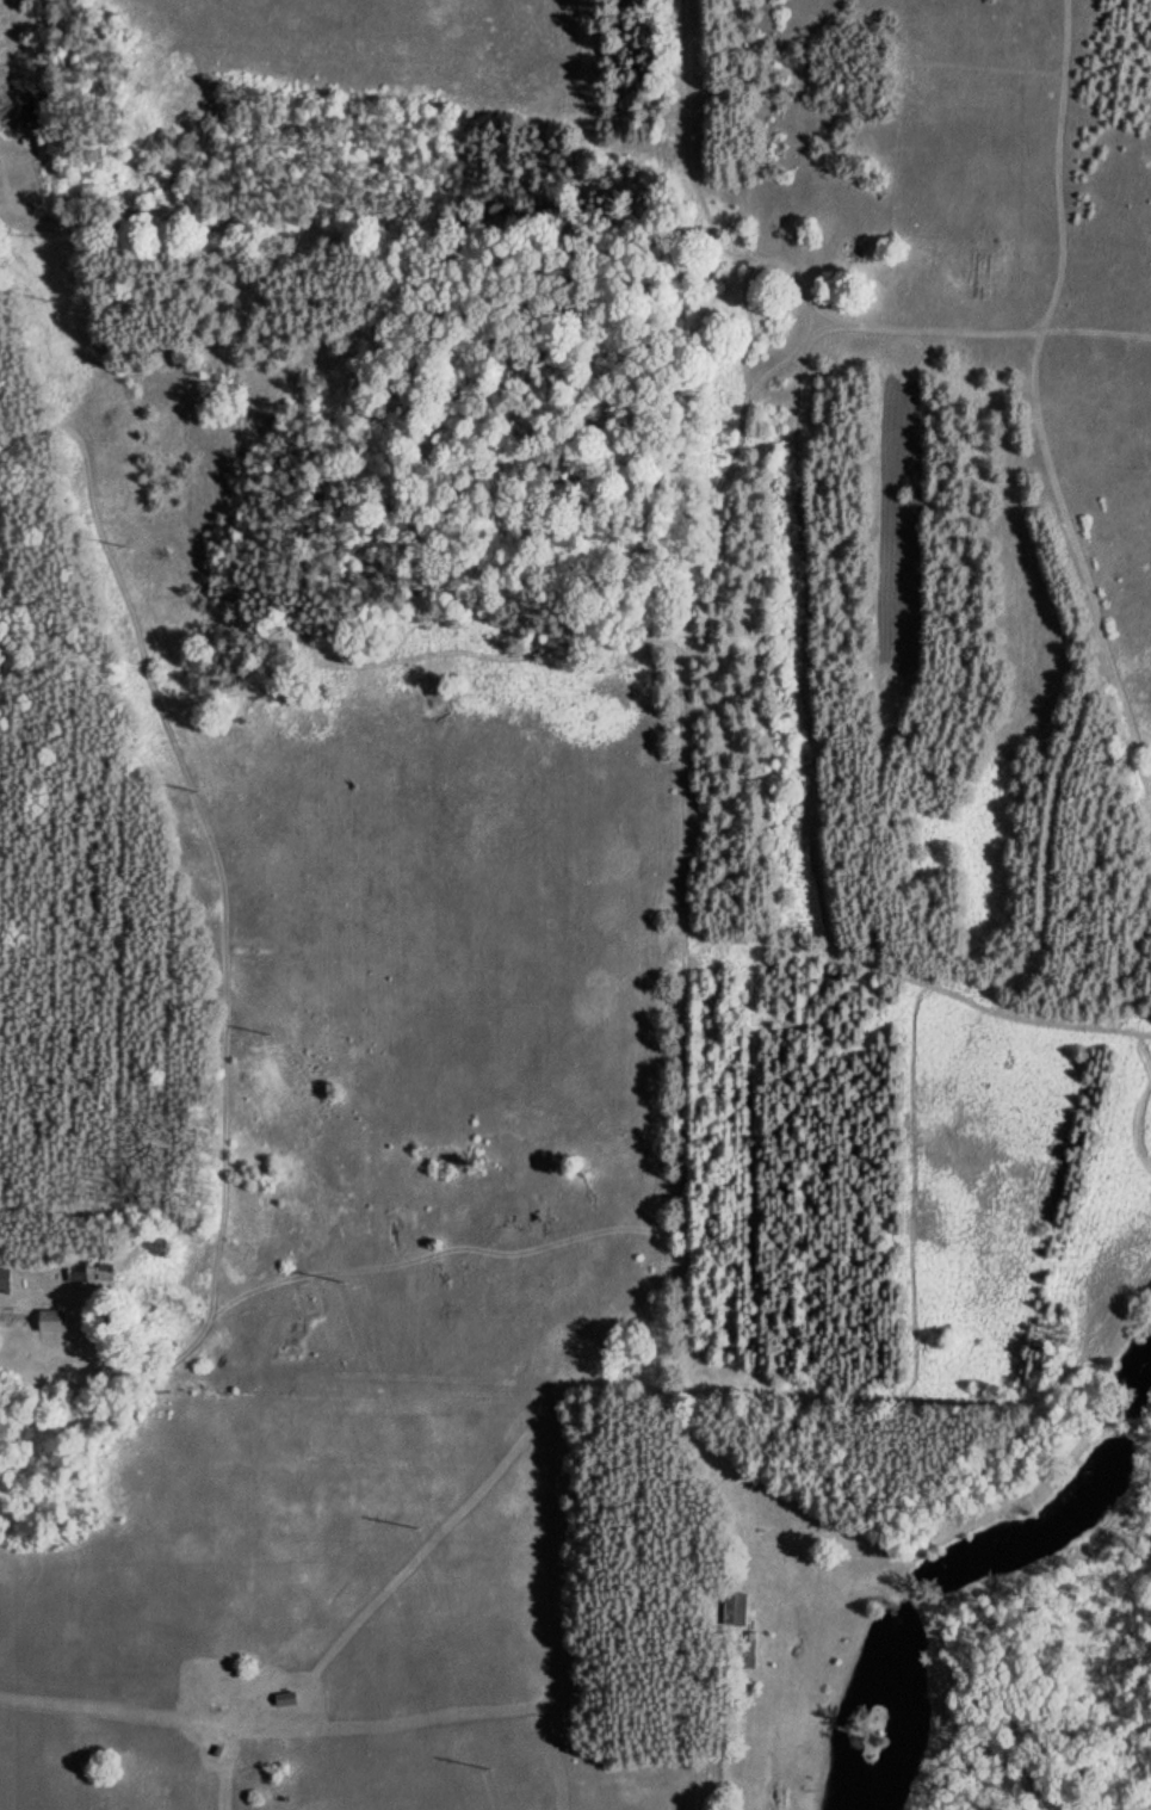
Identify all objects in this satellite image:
building: (89, 1270)
building: (5, 1278)
building: (50, 1320)
building: (735, 1608)
building: (742, 1653)
building: (284, 1698)

